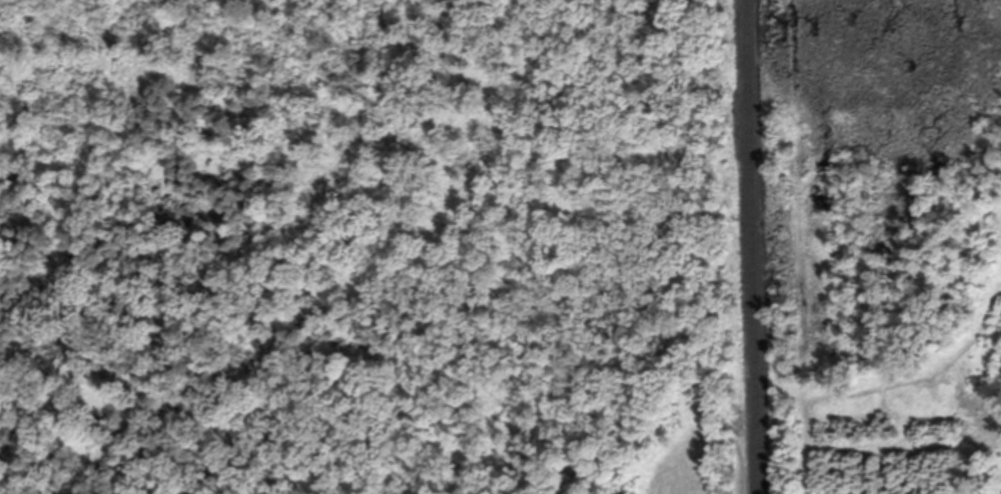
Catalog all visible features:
railway: (752, 247)

